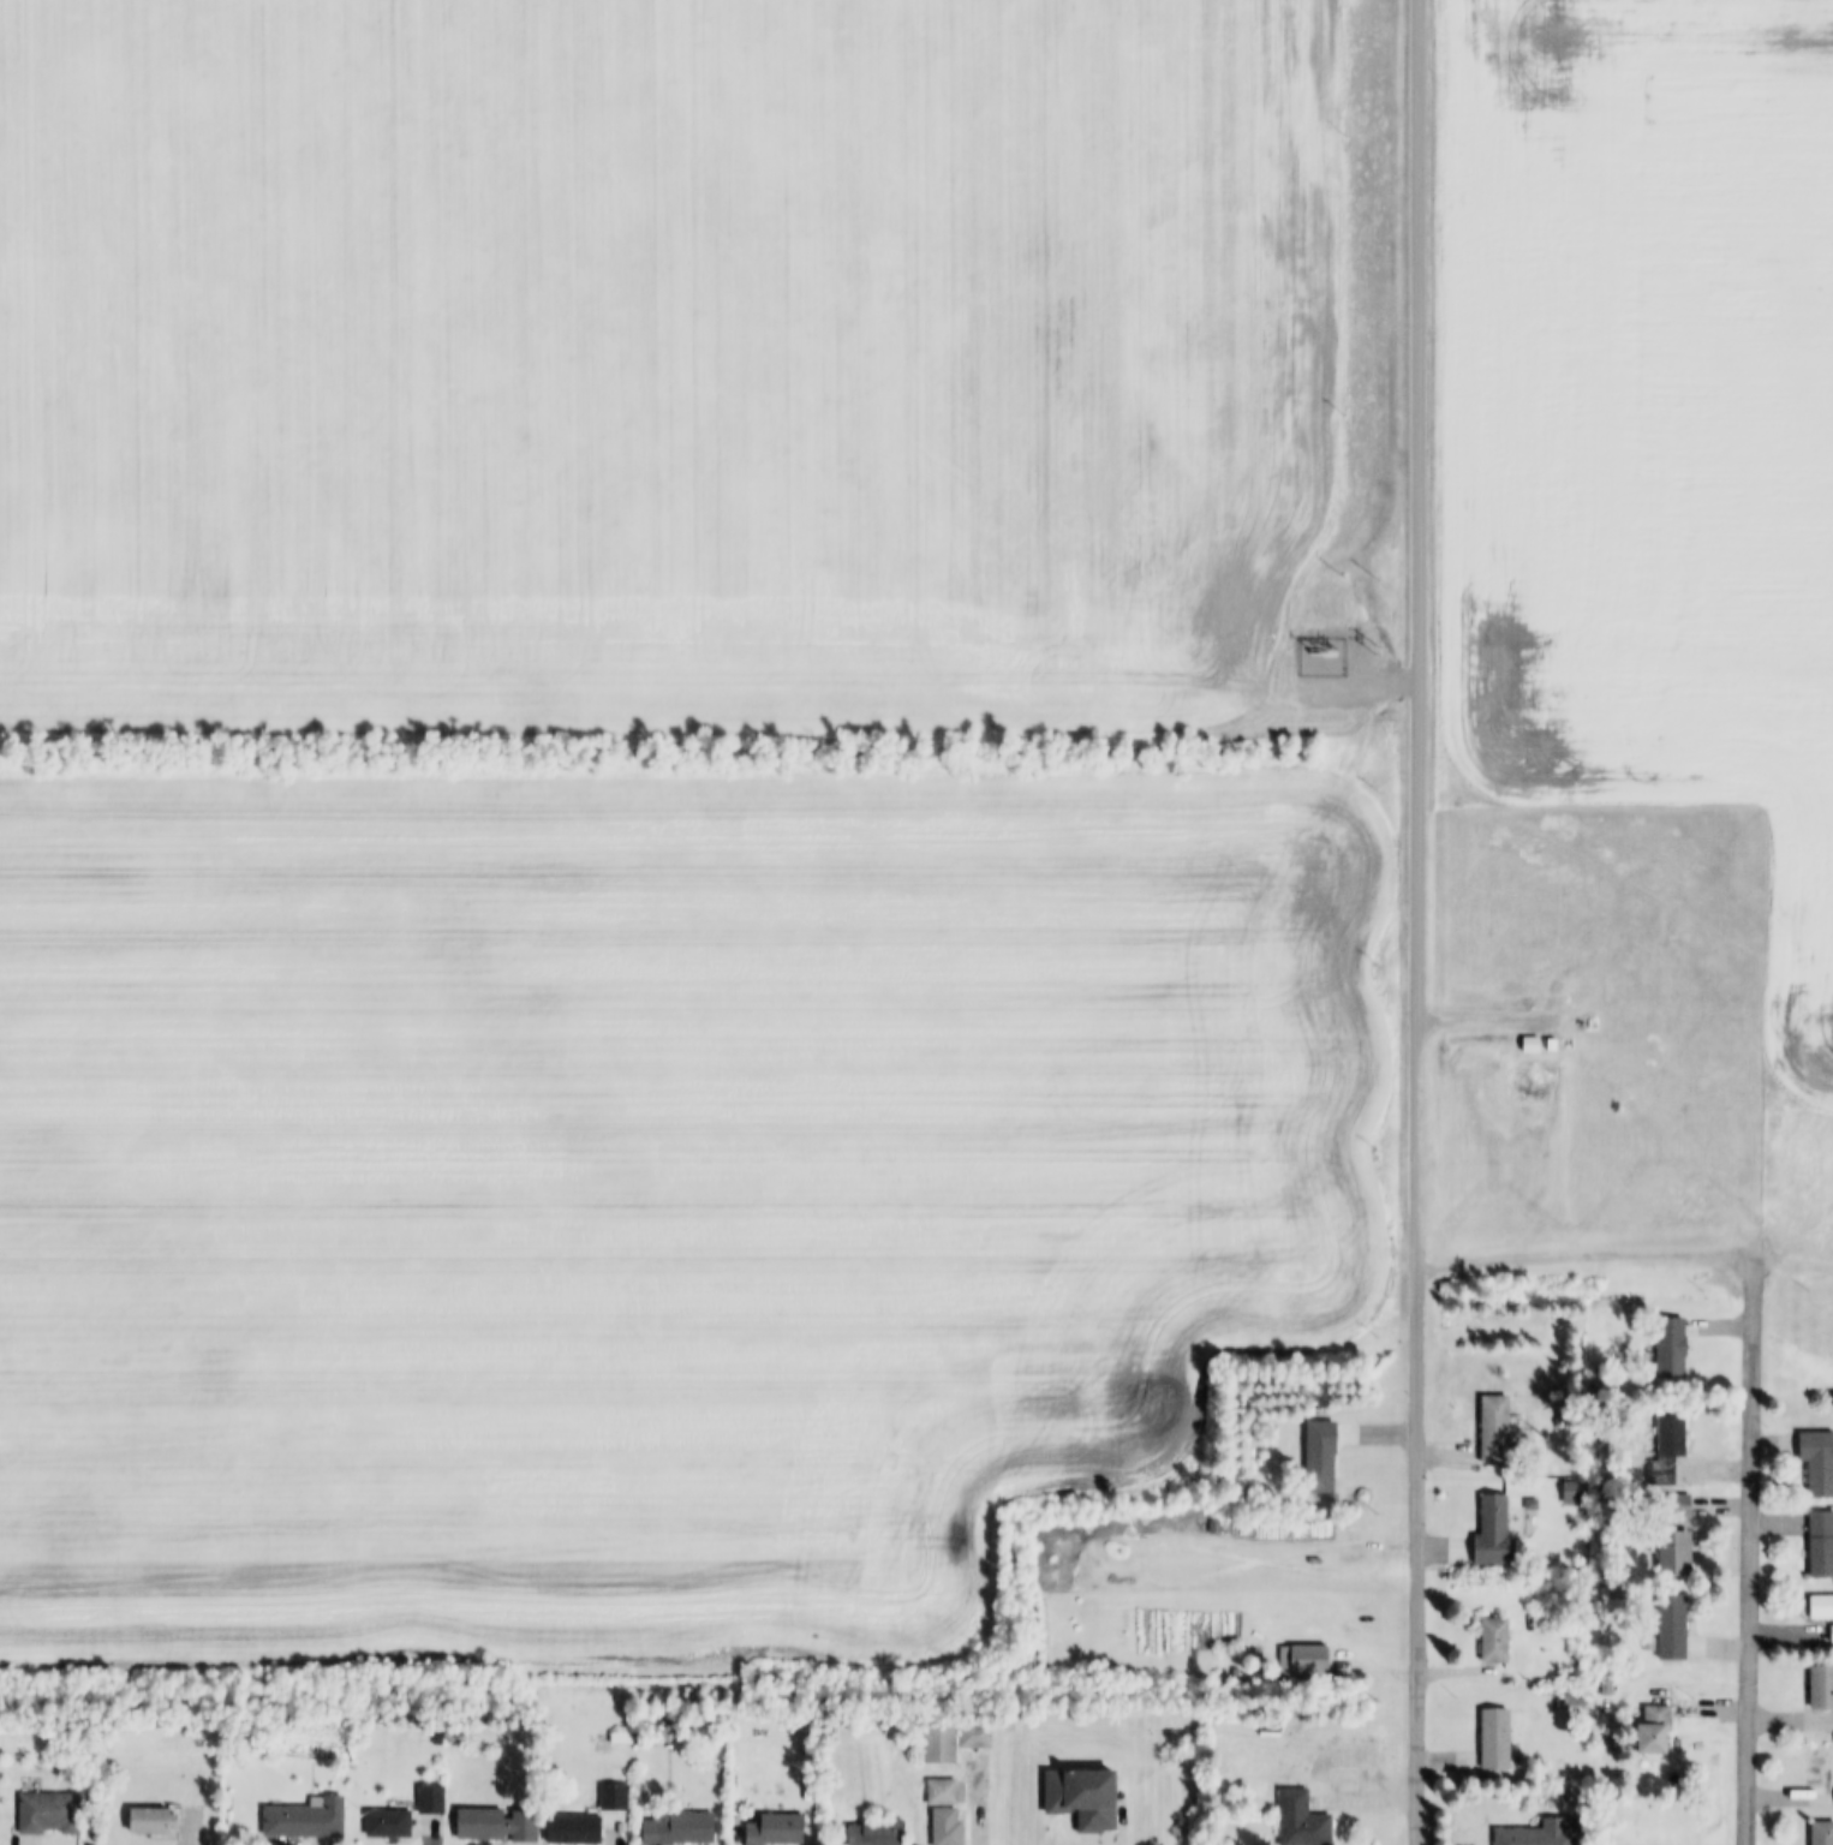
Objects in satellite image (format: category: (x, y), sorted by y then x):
road: (1419, 633)
power substation: (1321, 657)
road: (1489, 1019)
building: (1580, 1023)
building: (1553, 1045)
building: (1672, 1345)
building: (1499, 1433)
building: (1671, 1446)
building: (1322, 1457)
building: (1819, 1463)
building: (1575, 1493)
building: (1248, 1494)
building: (1214, 1527)
building: (1228, 1529)
building: (1495, 1533)
building: (1678, 1535)
building: (1822, 1546)
road: (1754, 1554)
raceway: (1371, 1556)
road: (1417, 1556)
raceway: (1136, 1563)
building: (1822, 1607)
building: (1673, 1628)
building: (1832, 1634)
building: (1497, 1641)
building: (1649, 1644)
building: (1304, 1660)
building: (1822, 1686)
building: (1270, 1730)
building: (1655, 1731)
building: (975, 1734)
building: (1497, 1738)
building: (941, 1743)
building: (1821, 1763)
building: (943, 1792)
building: (615, 1796)
building: (431, 1799)
building: (48, 1811)
building: (308, 1819)
building: (154, 1820)
building: (1303, 1820)
building: (389, 1823)
building: (497, 1825)
building: (947, 1827)
building: (574, 1828)
building: (680, 1828)
building: (776, 1829)
building: (878, 1832)
building: (1823, 1833)
building: (1540, 1834)
road: (1105, 1841)

